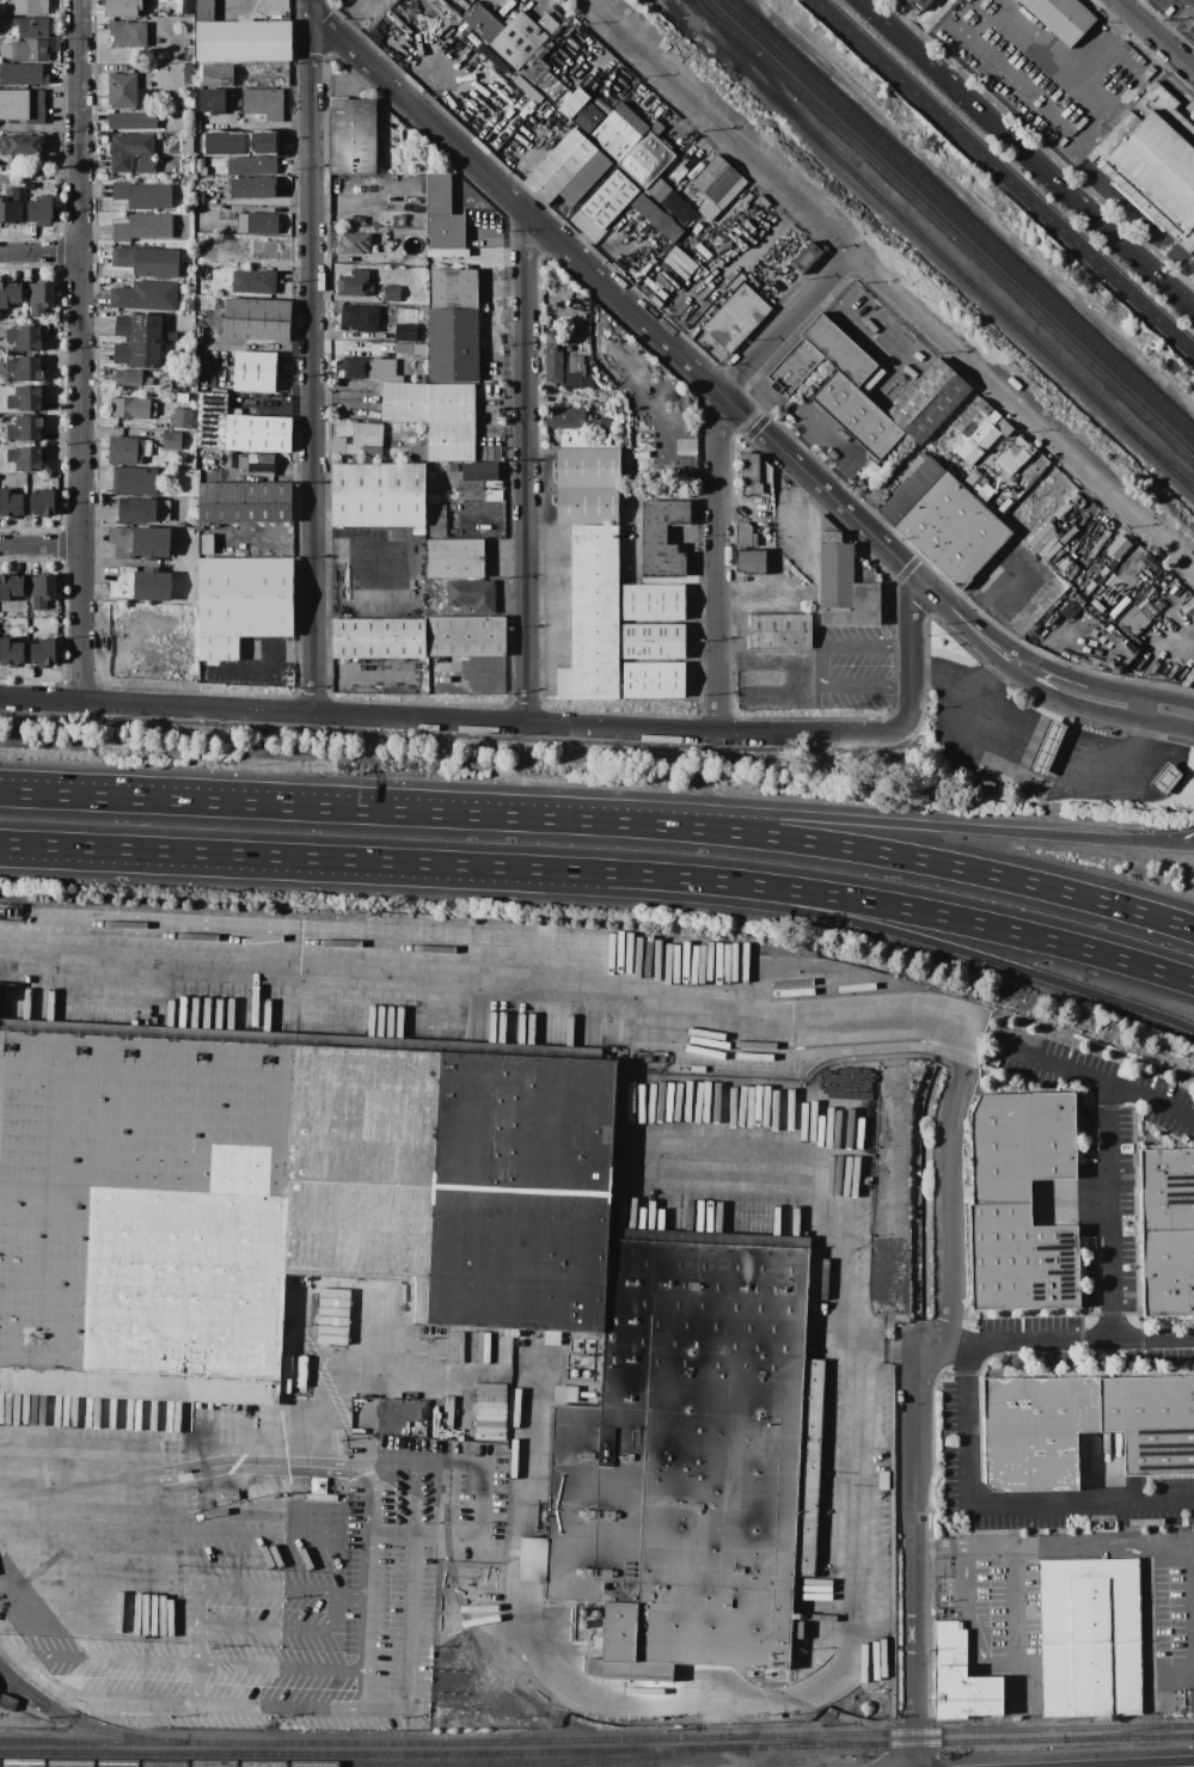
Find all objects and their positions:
building: (917, 4)
building: (186, 6)
road: (308, 6)
building: (29, 7)
building: (122, 7)
building: (204, 11)
road: (351, 18)
building: (1060, 18)
building: (482, 23)
building: (546, 24)
building: (32, 27)
building: (128, 33)
road: (1157, 33)
building: (243, 41)
building: (518, 41)
building: (185, 43)
building: (31, 50)
building: (185, 50)
building: (185, 57)
road: (1190, 57)
building: (257, 65)
building: (186, 73)
building: (23, 74)
building: (145, 74)
building: (216, 75)
road: (1063, 78)
building: (612, 82)
building: (551, 87)
building: (121, 91)
building: (605, 98)
building: (212, 100)
building: (238, 103)
building: (263, 103)
building: (572, 103)
building: (23, 105)
building: (587, 117)
building: (131, 121)
building: (656, 128)
building: (618, 132)
building: (353, 136)
building: (186, 143)
building: (22, 145)
building: (131, 153)
road: (1028, 154)
building: (645, 159)
building: (1153, 164)
building: (200, 166)
building: (251, 166)
building: (559, 166)
road: (1004, 173)
building: (584, 178)
building: (717, 187)
building: (252, 188)
building: (657, 190)
building: (149, 196)
building: (198, 198)
building: (607, 200)
building: (10, 206)
building: (678, 208)
building: (41, 212)
building: (442, 214)
railway: (962, 215)
building: (656, 218)
building: (391, 220)
railway: (955, 221)
building: (257, 224)
building: (142, 227)
railway: (911, 227)
railway: (948, 227)
building: (354, 244)
road: (39, 252)
building: (264, 255)
building: (806, 257)
building: (146, 261)
building: (253, 281)
road: (888, 282)
building: (354, 283)
building: (10, 294)
building: (392, 294)
building: (189, 295)
building: (143, 296)
building: (39, 298)
building: (403, 298)
road: (79, 299)
building: (188, 305)
building: (216, 314)
building: (735, 317)
building: (360, 318)
building: (256, 319)
building: (453, 325)
road: (650, 330)
building: (405, 332)
building: (171, 336)
building: (24, 338)
building: (137, 341)
building: (169, 348)
building: (410, 348)
building: (568, 349)
building: (841, 353)
building: (552, 357)
building: (420, 359)
road: (311, 361)
building: (792, 367)
building: (25, 368)
building: (362, 369)
building: (255, 371)
building: (572, 373)
building: (203, 378)
building: (488, 378)
building: (129, 379)
building: (166, 381)
building: (587, 383)
building: (25, 399)
building: (927, 401)
building: (427, 403)
building: (129, 409)
building: (153, 410)
building: (856, 415)
building: (972, 417)
building: (565, 418)
building: (623, 418)
building: (182, 420)
building: (210, 421)
building: (25, 428)
building: (257, 433)
building: (600, 434)
building: (984, 438)
building: (365, 439)
building: (576, 439)
building: (171, 441)
road: (832, 441)
building: (447, 442)
building: (128, 450)
building: (218, 454)
building: (626, 457)
building: (1014, 457)
building: (232, 458)
building: (25, 459)
railway: (1168, 460)
building: (256, 461)
road: (717, 465)
railway: (1168, 465)
building: (453, 467)
road: (525, 467)
building: (587, 467)
building: (479, 471)
building: (630, 471)
building: (871, 471)
building: (754, 475)
building: (134, 481)
road: (632, 494)
building: (378, 495)
building: (492, 495)
building: (244, 502)
building: (42, 503)
building: (10, 505)
building: (587, 506)
building: (161, 509)
building: (136, 510)
road: (797, 513)
building: (436, 521)
building: (951, 531)
building: (662, 538)
building: (140, 542)
road: (41, 544)
building: (1116, 546)
building: (747, 551)
building: (454, 558)
building: (844, 582)
building: (140, 585)
building: (11, 587)
building: (42, 591)
building: (471, 595)
building: (245, 597)
building: (653, 601)
building: (1069, 610)
building: (594, 613)
building: (0, 615)
building: (1137, 615)
building: (779, 631)
building: (465, 636)
building: (378, 638)
building: (653, 641)
building: (218, 648)
road: (80, 649)
building: (11, 652)
building: (43, 653)
road: (911, 654)
road: (821, 665)
parking lot: (851, 667)
road: (273, 671)
building: (653, 680)
road: (1090, 686)
road: (1140, 707)
road: (1083, 708)
road: (451, 720)
building: (1045, 747)
building: (1165, 778)
road: (1023, 783)
building: (982, 784)
road: (273, 806)
road: (852, 819)
road: (1176, 842)
road: (874, 851)
road: (341, 860)
building: (10, 912)
road: (941, 916)
road: (941, 944)
road: (504, 983)
road: (1047, 1057)
building: (1020, 1144)
road: (1108, 1164)
building: (1167, 1188)
building: (282, 1194)
road: (850, 1202)
road: (954, 1209)
building: (1021, 1260)
building: (1168, 1273)
building: (330, 1316)
building: (362, 1322)
road: (1063, 1346)
building: (1151, 1423)
building: (1035, 1430)
building: (688, 1460)
road: (275, 1462)
road: (323, 1471)
road: (411, 1500)
road: (436, 1500)
road: (1004, 1503)
road: (423, 1536)
road: (850, 1542)
road: (1119, 1545)
road: (914, 1555)
road: (345, 1603)
road: (194, 1608)
road: (974, 1619)
road: (1015, 1621)
railway: (476, 1634)
building: (1090, 1637)
road: (195, 1644)
road: (29, 1662)
road: (550, 1670)
building: (960, 1679)
road: (195, 1686)
building: (1189, 1701)
building: (7, 1702)
road: (380, 1710)
railway: (79, 1723)
railway: (1128, 1732)
railway: (596, 1740)
railway: (800, 1742)
railway: (596, 1750)
railway: (666, 1756)
railway: (323, 1765)

